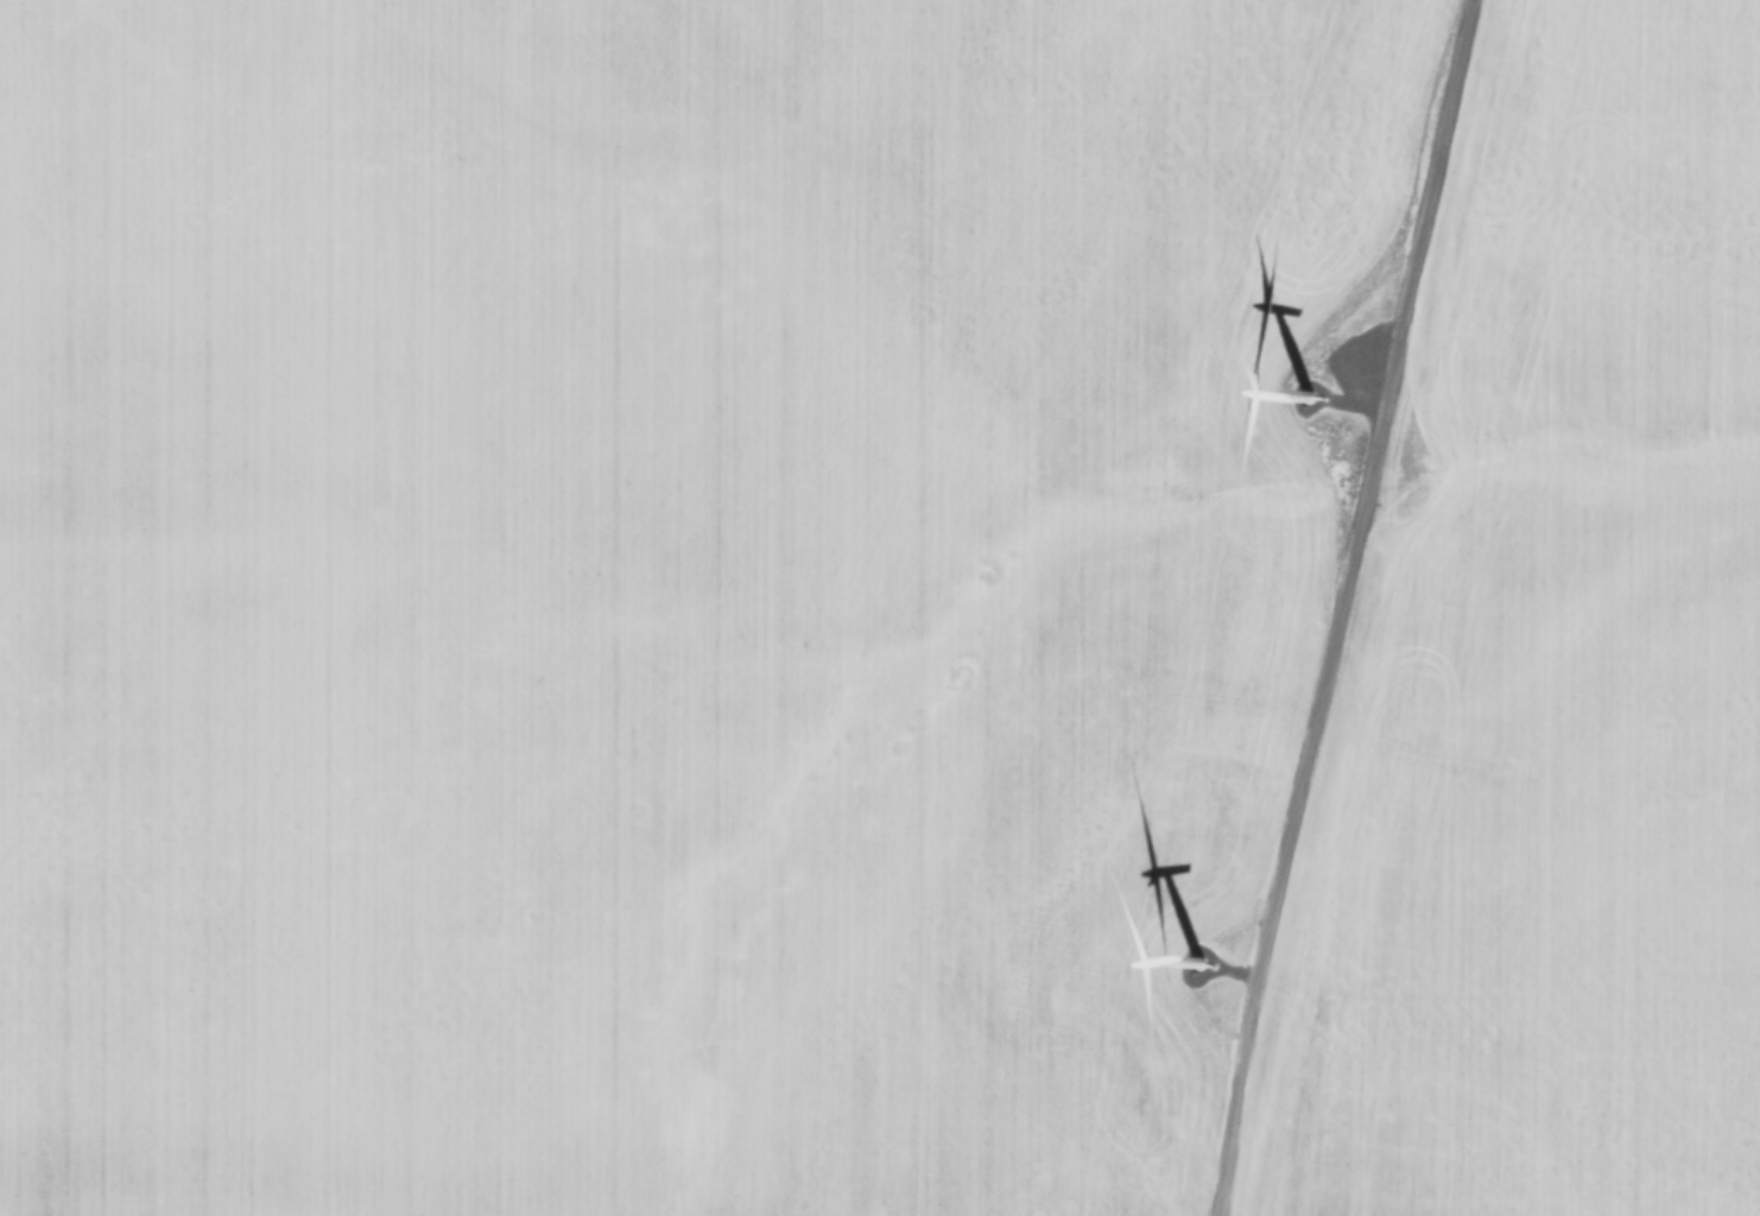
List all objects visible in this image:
wind turbine: (1297, 404)
road: (1334, 607)
wind turbine: (1183, 978)

